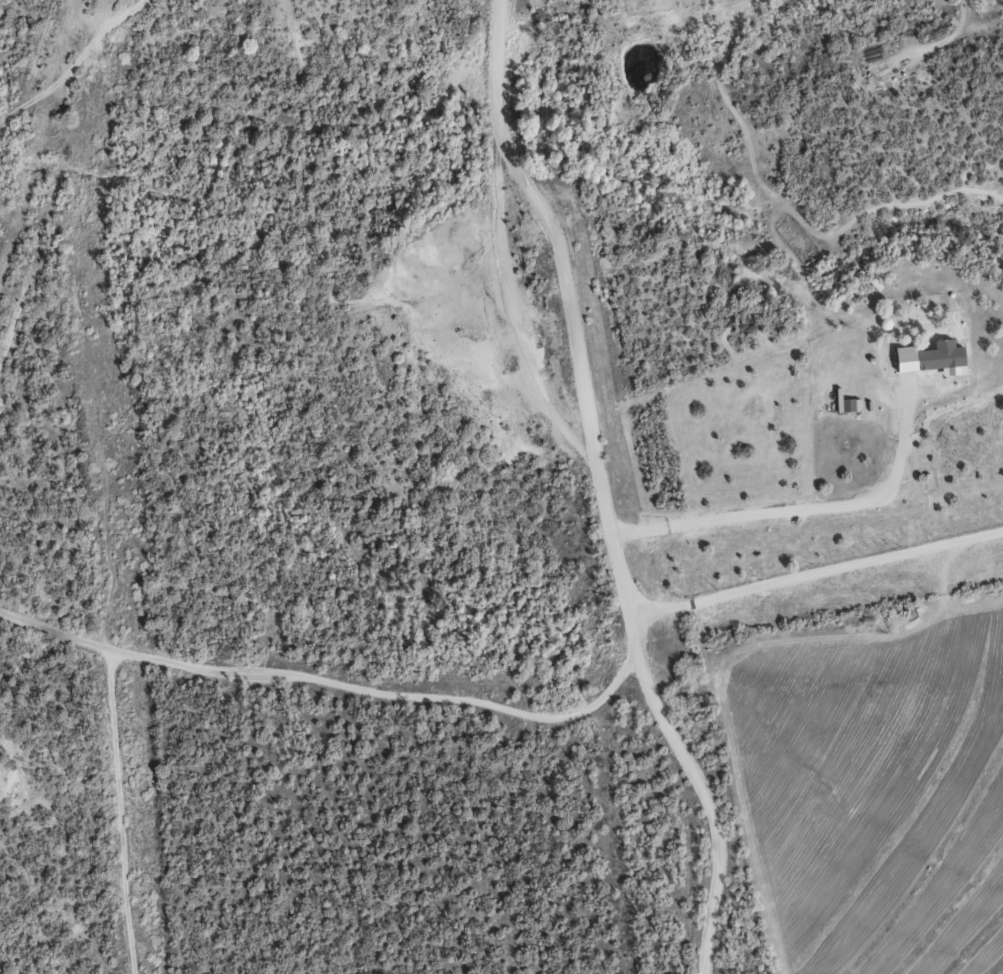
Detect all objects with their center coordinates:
building: (926, 356)
building: (844, 403)
road: (608, 486)
road: (807, 510)
road: (820, 573)
road: (394, 717)
road: (112, 766)

